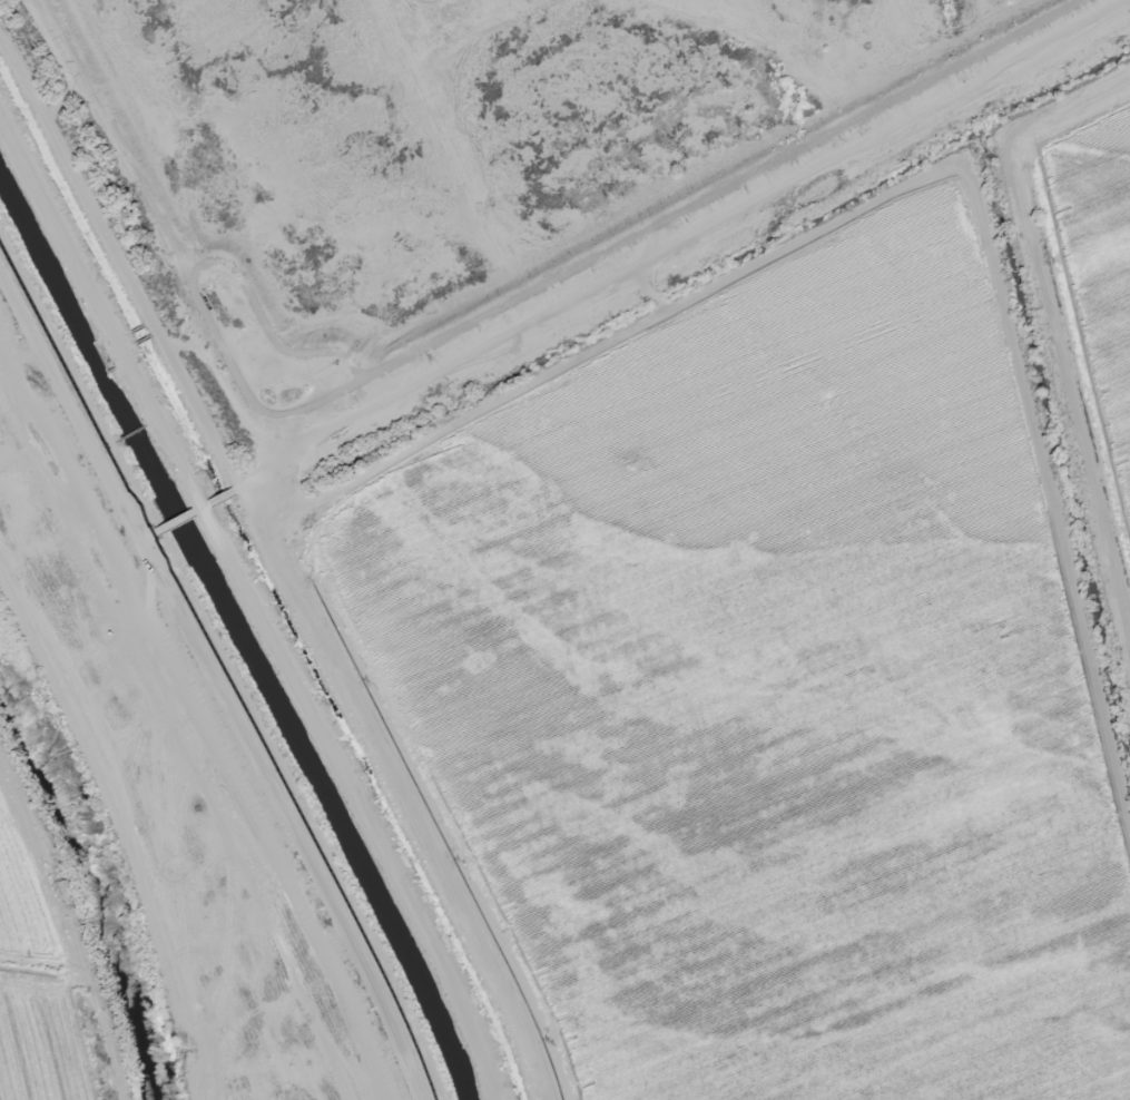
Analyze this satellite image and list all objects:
river: (0, 687)
river: (92, 887)

